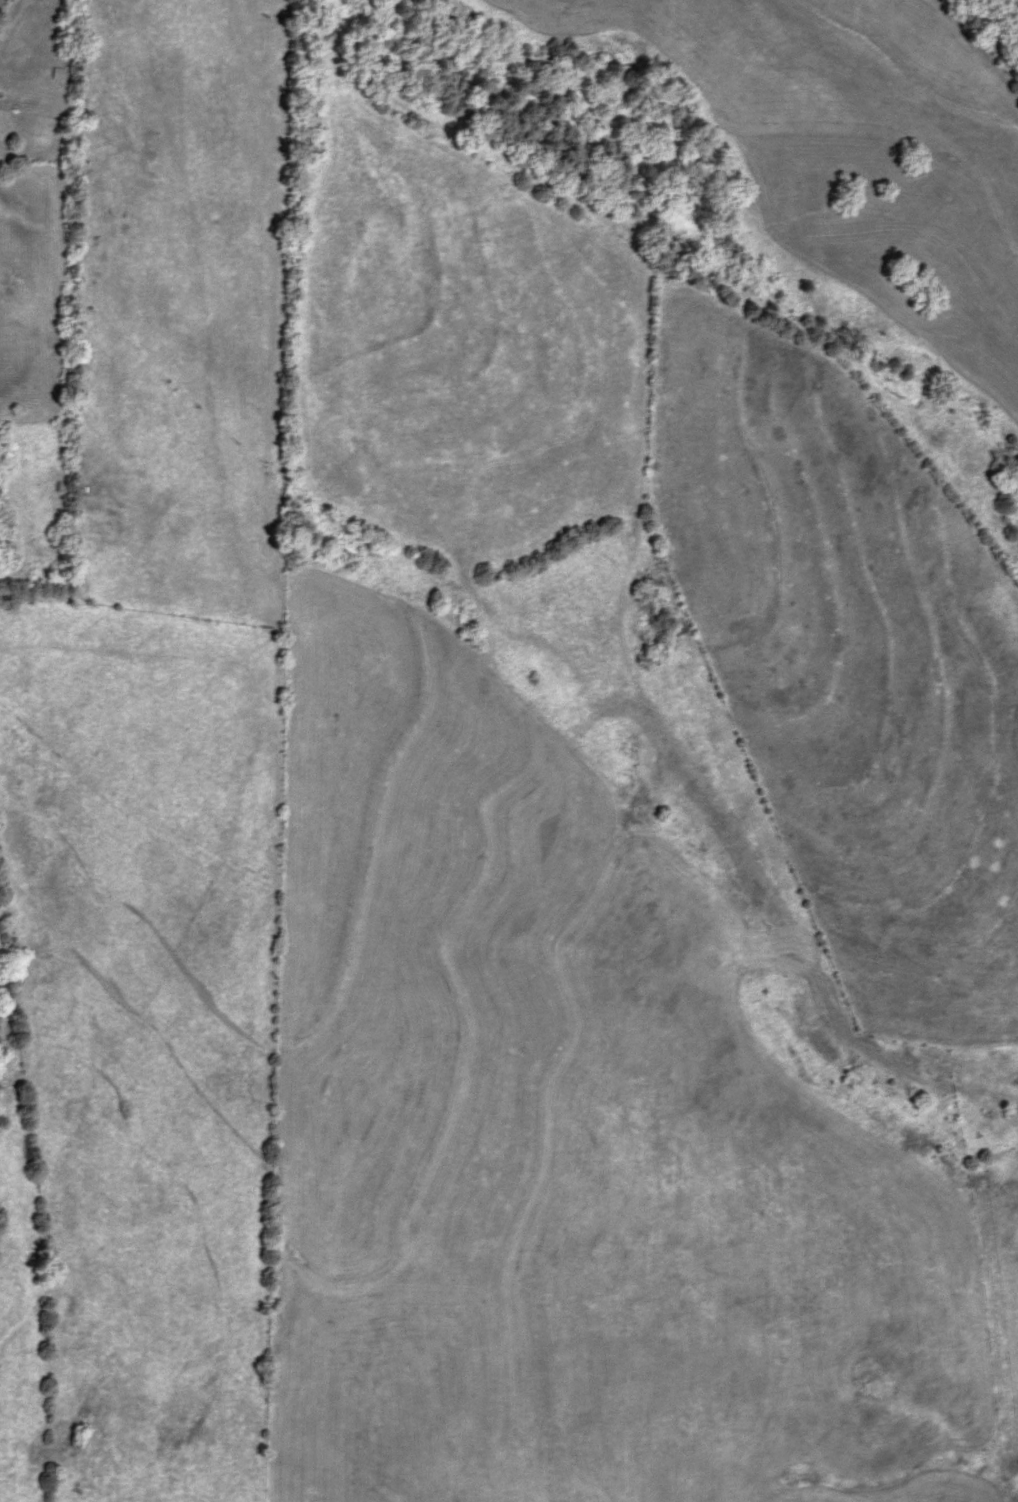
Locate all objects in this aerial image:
road: (981, 55)
building: (57, 75)

